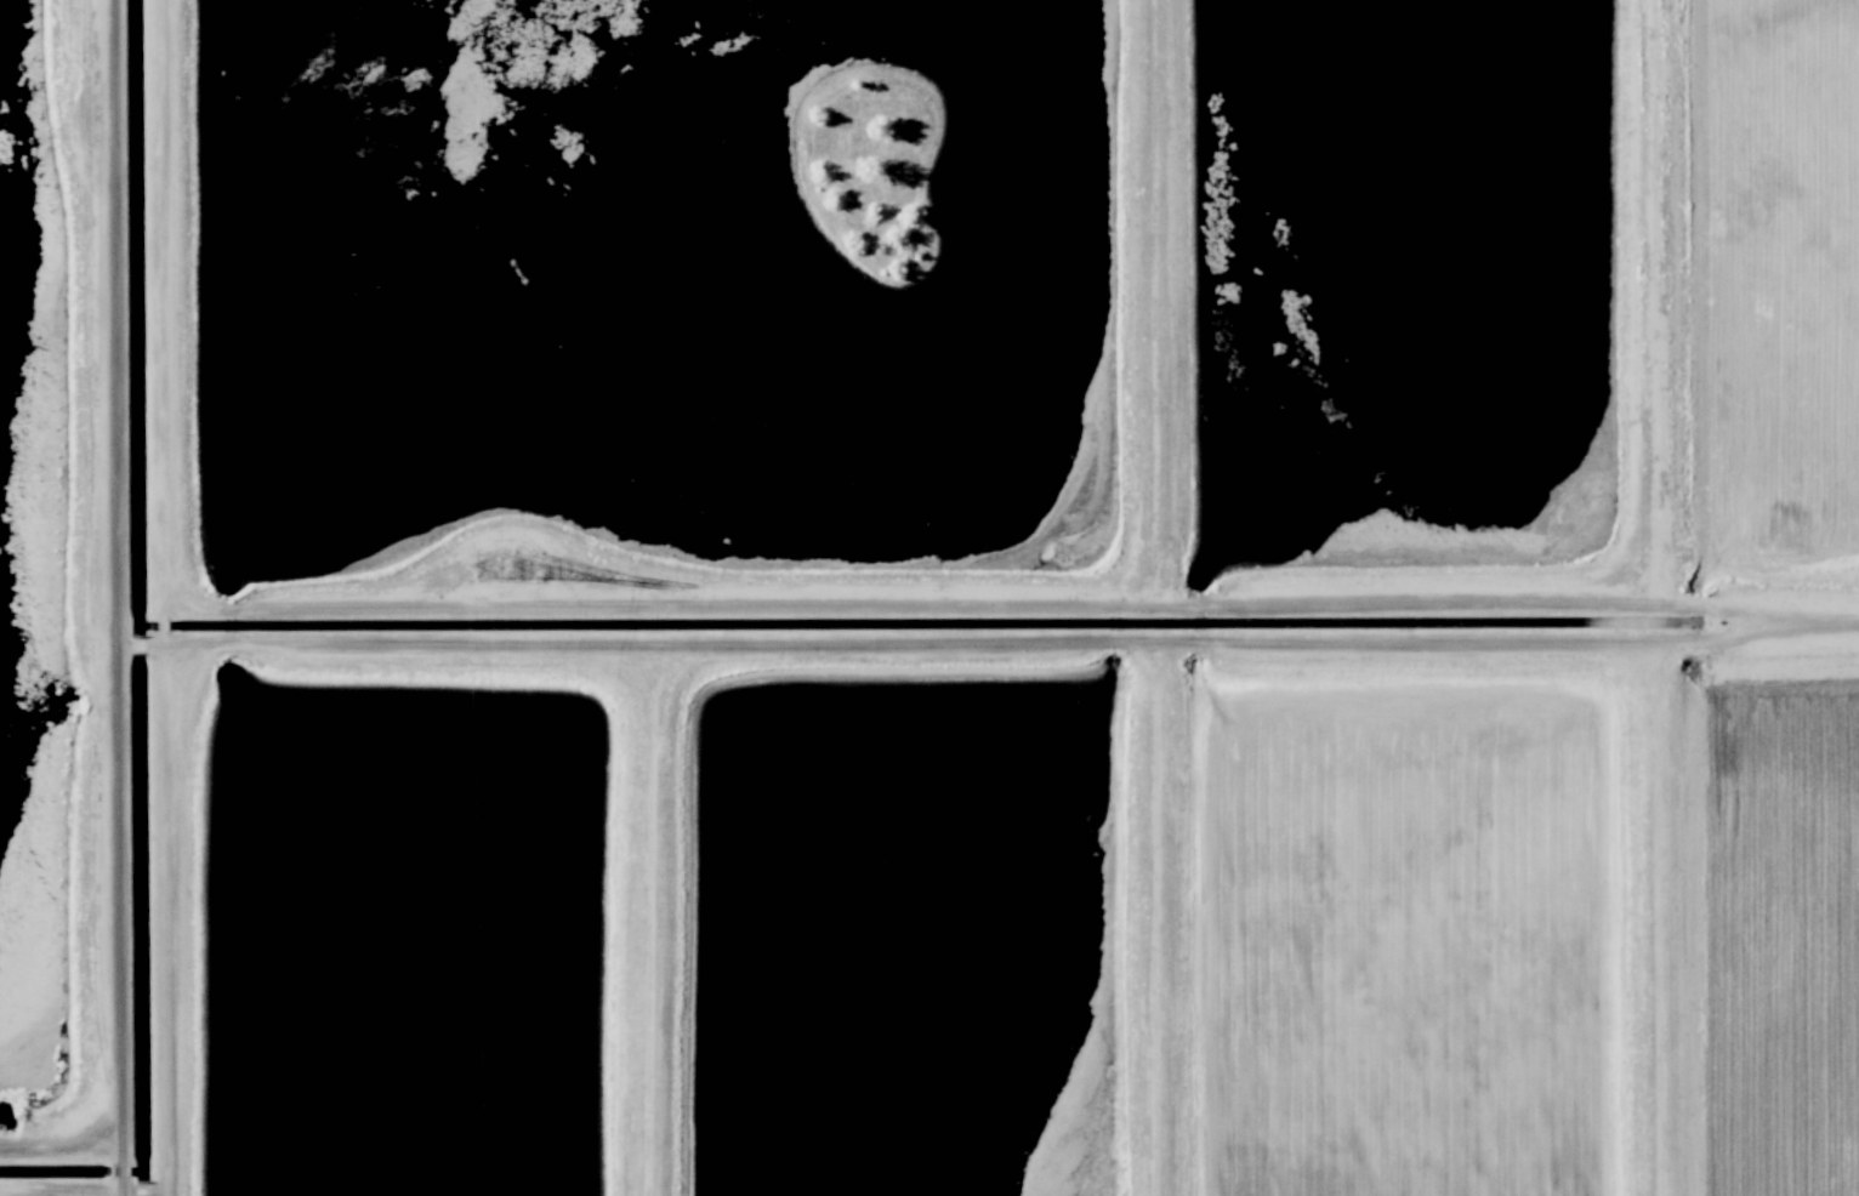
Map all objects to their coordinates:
wastewater plant: (1779, 284)
wastewater plant: (1410, 285)
wastewater plant: (658, 289)
road: (1660, 302)
wastewater plant: (25, 556)
power tower: (525, 563)
power tower: (482, 564)
road: (100, 598)
road: (161, 598)
wastewater plant: (929, 598)
road: (654, 604)
road: (1740, 609)
road: (1807, 609)
road: (653, 639)
road: (132, 640)
road: (1665, 916)
road: (649, 917)
wastewater plant: (1781, 929)
wastewater plant: (1409, 930)
wastewater plant: (898, 933)
wastewater plant: (404, 942)
road: (57, 1137)
road: (58, 1188)
road: (144, 1188)

